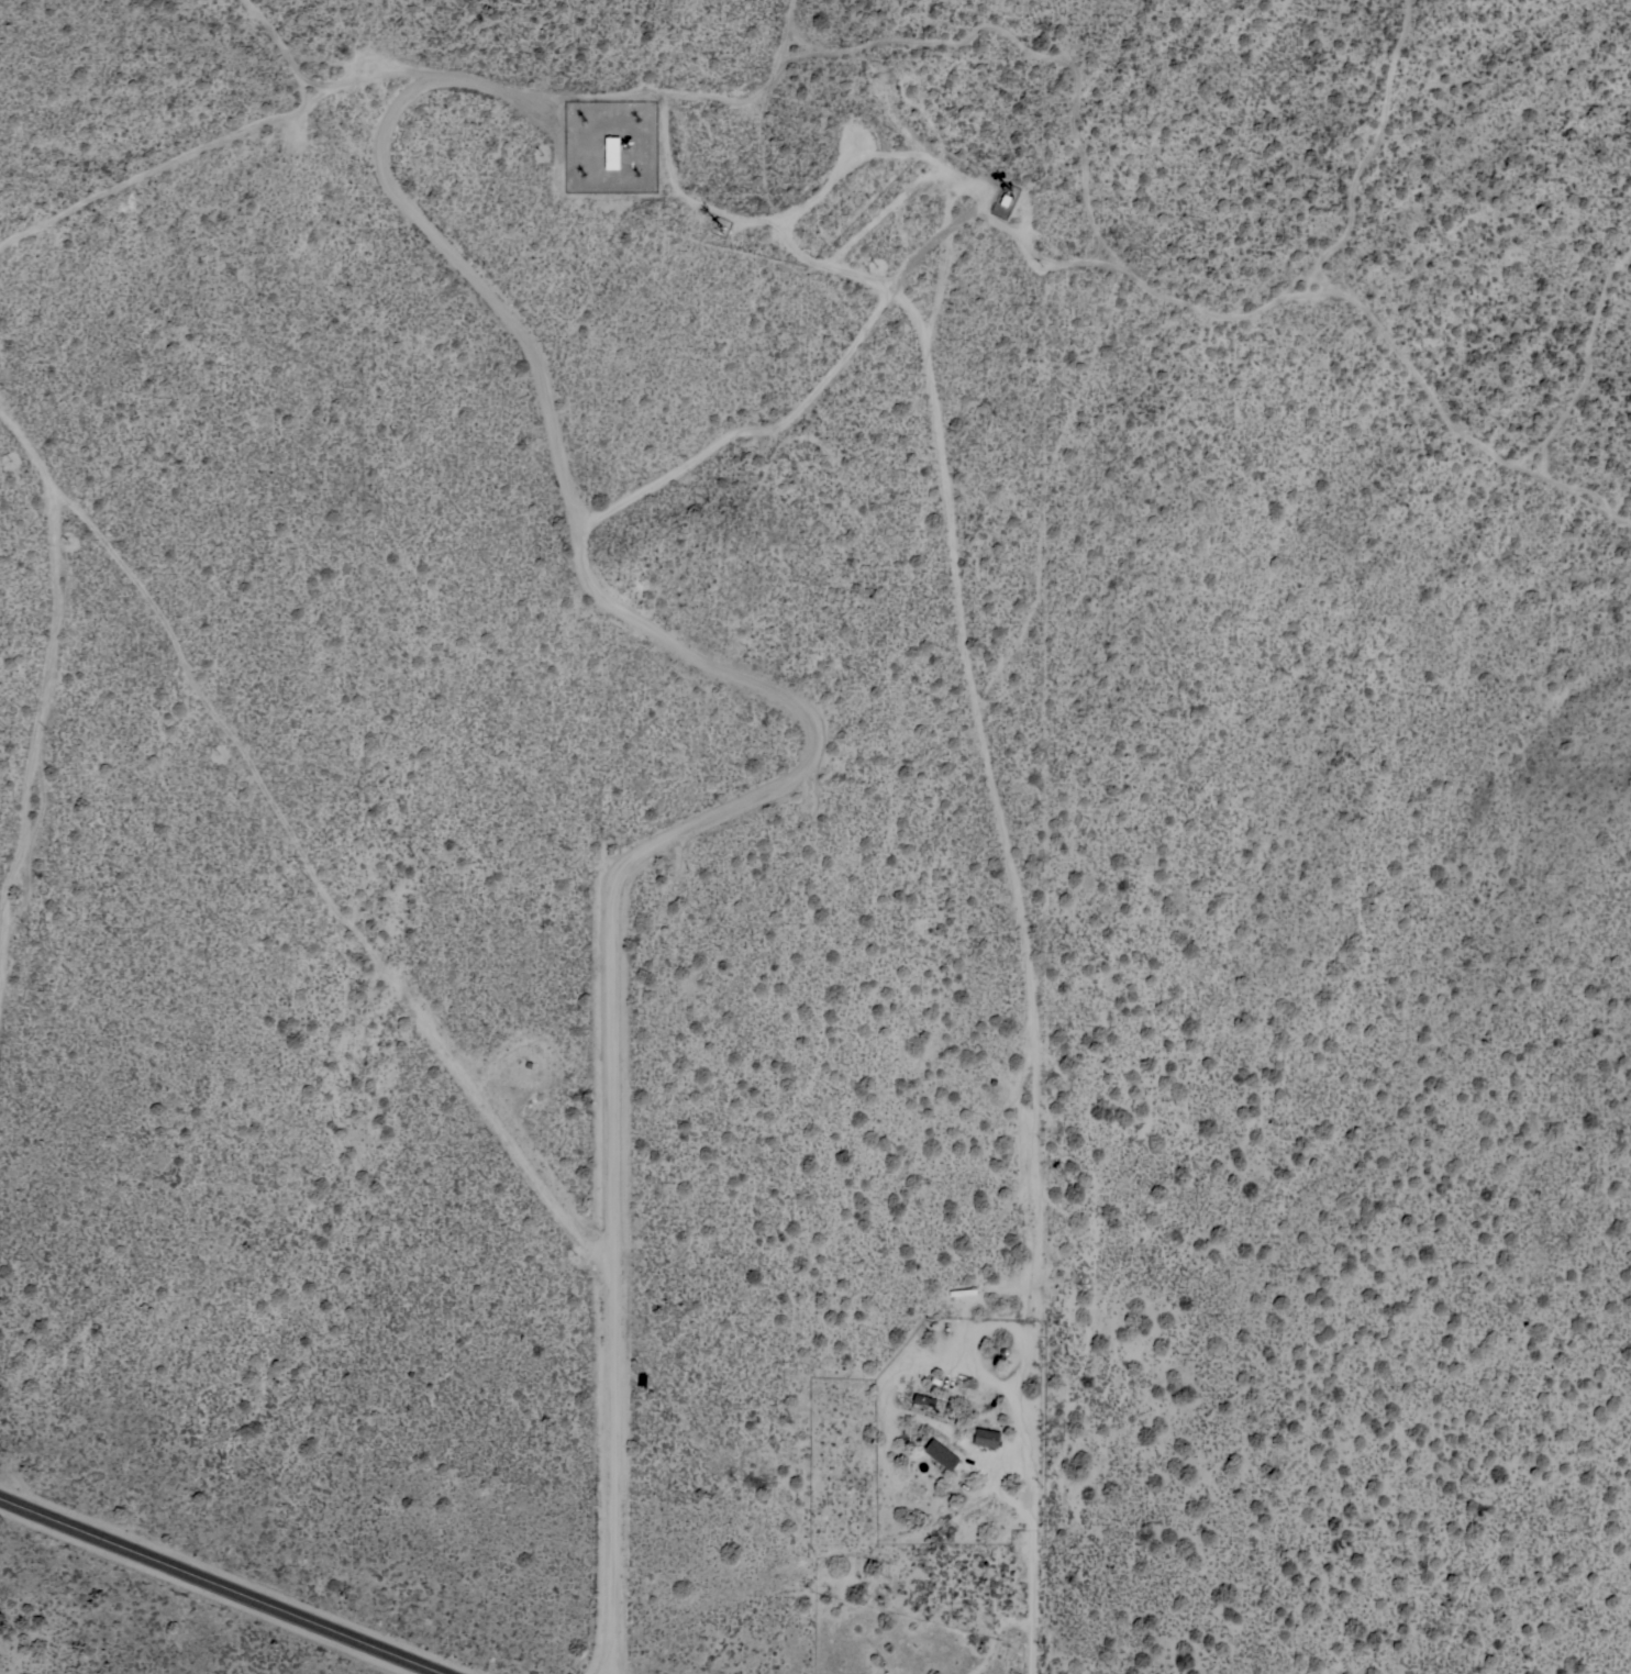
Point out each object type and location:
building: (612, 153)
road: (830, 179)
road: (751, 430)
road: (958, 591)
road: (801, 763)
building: (963, 1291)
road: (887, 1392)
building: (924, 1399)
building: (986, 1437)
building: (941, 1454)
road: (224, 1585)

